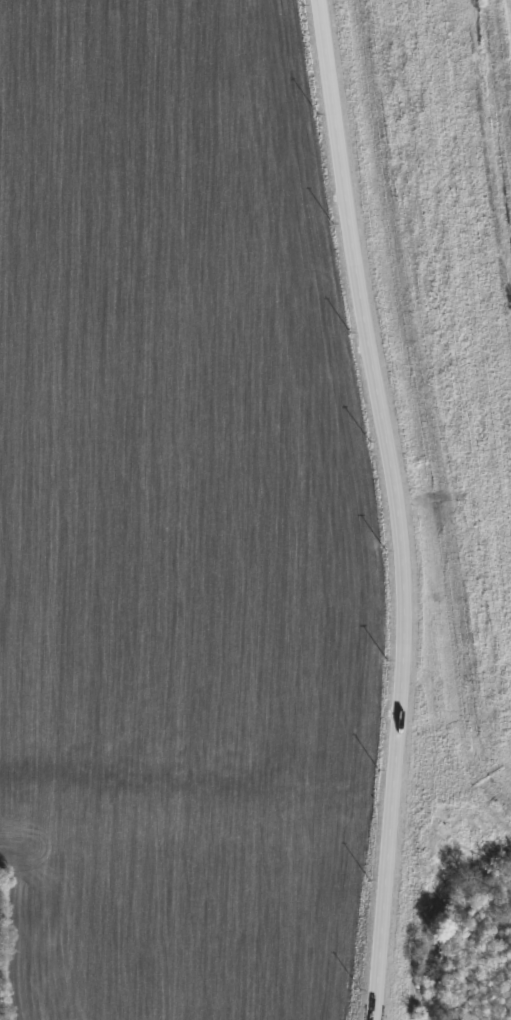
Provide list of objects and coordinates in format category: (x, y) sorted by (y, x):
road: (396, 508)

